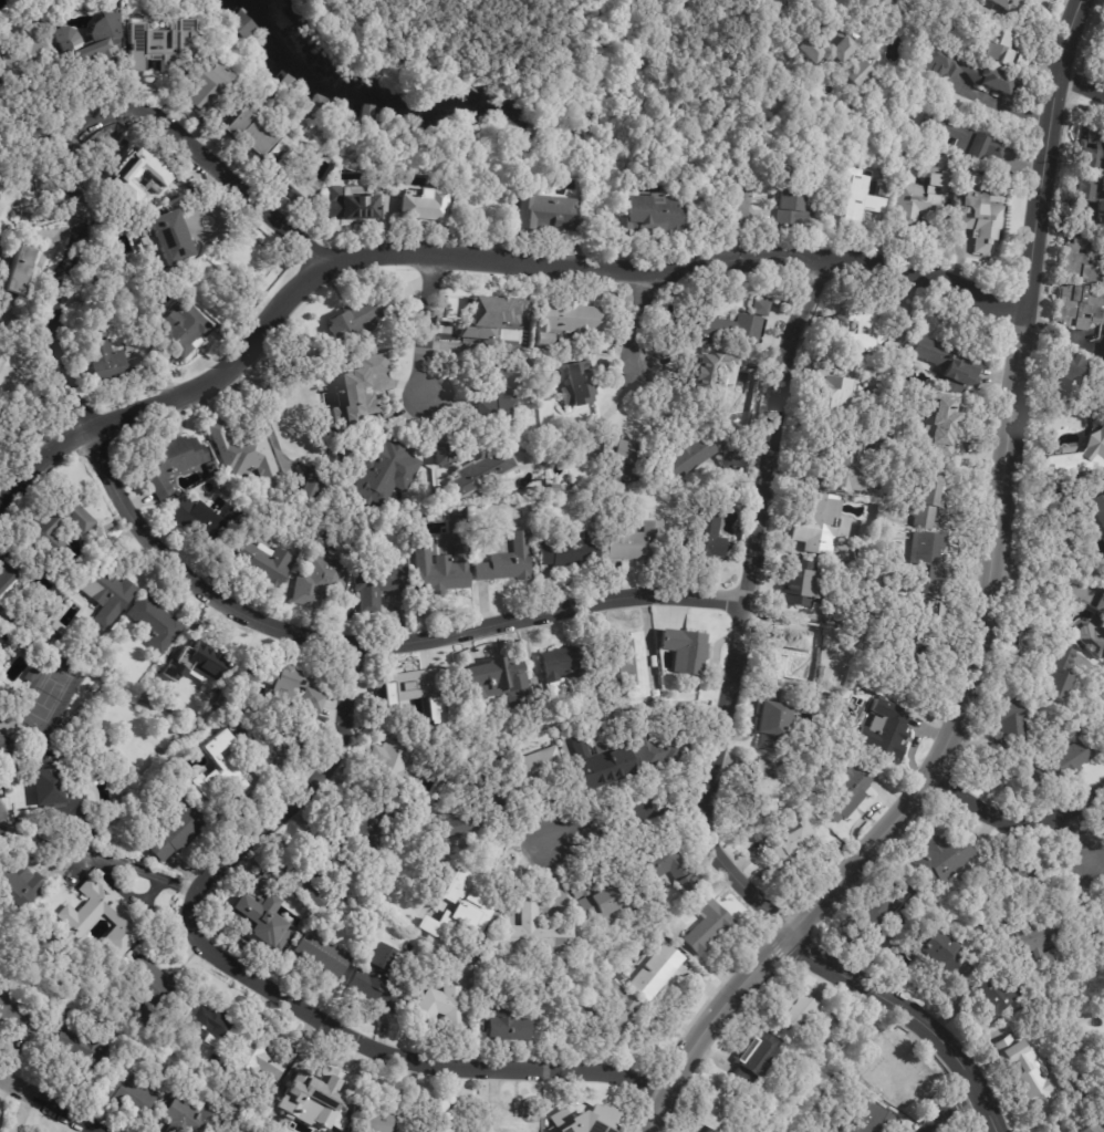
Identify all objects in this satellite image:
building: (884, 4)
building: (1010, 9)
building: (240, 24)
building: (160, 43)
building: (91, 44)
building: (1102, 46)
building: (1001, 50)
building: (23, 55)
park: (511, 55)
building: (835, 59)
building: (958, 71)
road: (1081, 85)
building: (204, 86)
road: (1002, 103)
building: (244, 134)
building: (968, 141)
building: (271, 152)
building: (1092, 152)
building: (165, 179)
building: (291, 179)
road: (228, 180)
building: (20, 190)
building: (0, 191)
building: (923, 196)
building: (860, 199)
building: (1090, 199)
building: (350, 202)
building: (421, 208)
building: (793, 208)
building: (982, 215)
building: (542, 216)
building: (647, 218)
building: (117, 227)
building: (166, 241)
road: (472, 256)
building: (1084, 260)
building: (17, 270)
building: (760, 307)
building: (1080, 307)
building: (358, 315)
building: (489, 315)
building: (565, 321)
road: (638, 323)
road: (429, 324)
building: (180, 326)
building: (729, 329)
building: (862, 329)
building: (103, 361)
building: (949, 361)
building: (1072, 366)
building: (18, 374)
building: (577, 384)
building: (719, 384)
building: (952, 387)
building: (499, 396)
building: (831, 398)
building: (358, 399)
building: (935, 427)
building: (300, 435)
building: (243, 453)
building: (441, 454)
building: (690, 454)
building: (622, 455)
building: (1079, 456)
building: (170, 463)
building: (847, 467)
building: (385, 469)
building: (213, 470)
building: (481, 471)
building: (1081, 477)
building: (554, 488)
building: (440, 491)
building: (926, 492)
building: (1097, 503)
building: (198, 521)
building: (59, 525)
building: (819, 525)
building: (701, 538)
building: (636, 542)
building: (864, 543)
building: (572, 550)
building: (507, 562)
building: (265, 564)
building: (923, 565)
building: (438, 572)
building: (885, 580)
building: (320, 581)
building: (801, 583)
building: (376, 584)
building: (10, 586)
road: (198, 586)
building: (104, 593)
building: (1100, 603)
road: (741, 611)
road: (985, 619)
building: (153, 623)
building: (921, 626)
building: (54, 631)
building: (1093, 638)
building: (684, 651)
building: (30, 653)
building: (812, 658)
building: (632, 665)
building: (198, 666)
building: (903, 669)
building: (562, 671)
building: (1060, 676)
building: (27, 677)
building: (498, 683)
building: (293, 688)
building: (407, 688)
building: (774, 720)
building: (1012, 729)
building: (884, 730)
building: (562, 731)
building: (97, 746)
building: (4, 747)
building: (657, 747)
building: (273, 750)
building: (159, 751)
building: (399, 760)
building: (529, 764)
building: (601, 764)
building: (1062, 764)
building: (223, 769)
building: (55, 789)
building: (763, 789)
building: (845, 792)
road: (296, 795)
road: (626, 822)
road: (1016, 823)
building: (372, 824)
building: (457, 825)
building: (178, 830)
road: (1084, 837)
building: (790, 840)
building: (940, 858)
building: (140, 859)
building: (150, 860)
building: (662, 865)
building: (313, 871)
building: (1016, 876)
building: (19, 886)
building: (598, 895)
building: (468, 901)
building: (631, 908)
building: (258, 917)
building: (869, 920)
building: (77, 921)
building: (1103, 922)
building: (1103, 924)
building: (707, 925)
building: (531, 932)
building: (1098, 938)
building: (1038, 944)
building: (322, 953)
building: (942, 954)
building: (467, 955)
building: (610, 963)
building: (655, 973)
building: (378, 979)
building: (150, 990)
building: (996, 994)
road: (889, 999)
building: (795, 1008)
building: (439, 1009)
building: (584, 1012)
building: (18, 1017)
building: (206, 1021)
building: (503, 1021)
building: (81, 1041)
building: (1103, 1050)
building: (753, 1056)
road: (402, 1058)
building: (252, 1060)
building: (186, 1061)
building: (903, 1072)
building: (1028, 1073)
building: (160, 1078)
building: (127, 1095)
building: (1093, 1099)
building: (312, 1102)
road: (46, 1103)
building: (715, 1107)
road: (948, 1107)
road: (985, 1107)
building: (195, 1115)
building: (373, 1117)
building: (439, 1118)
building: (507, 1120)
building: (866, 1120)
building: (581, 1122)
building: (1091, 1128)
building: (256, 1131)

